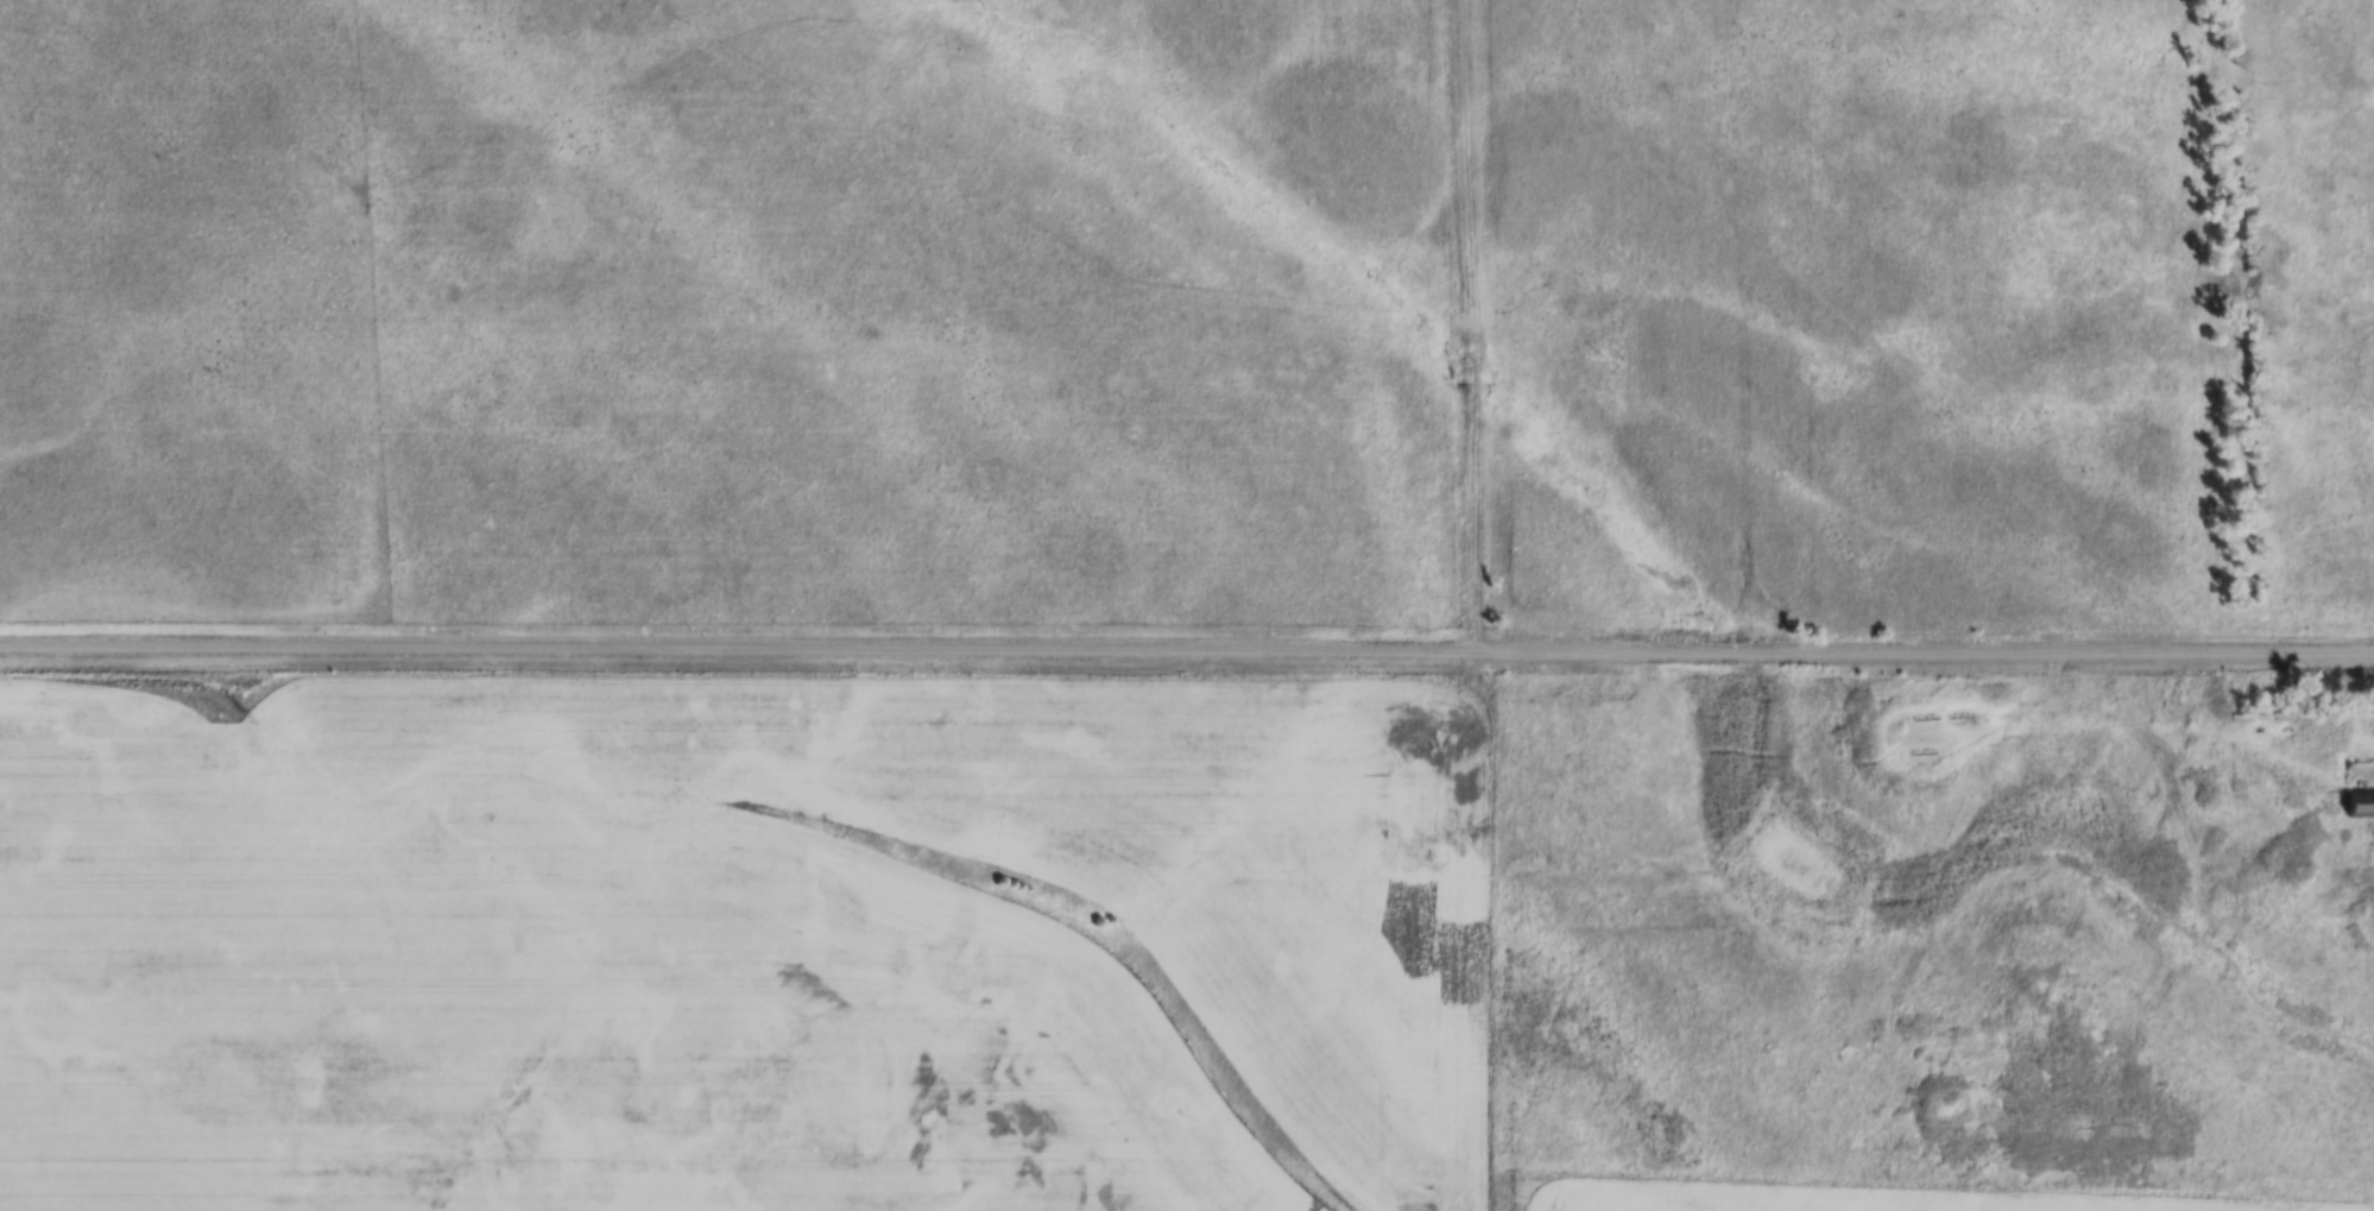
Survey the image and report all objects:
road: (1187, 652)
building: (2360, 803)
building: (2065, 807)

